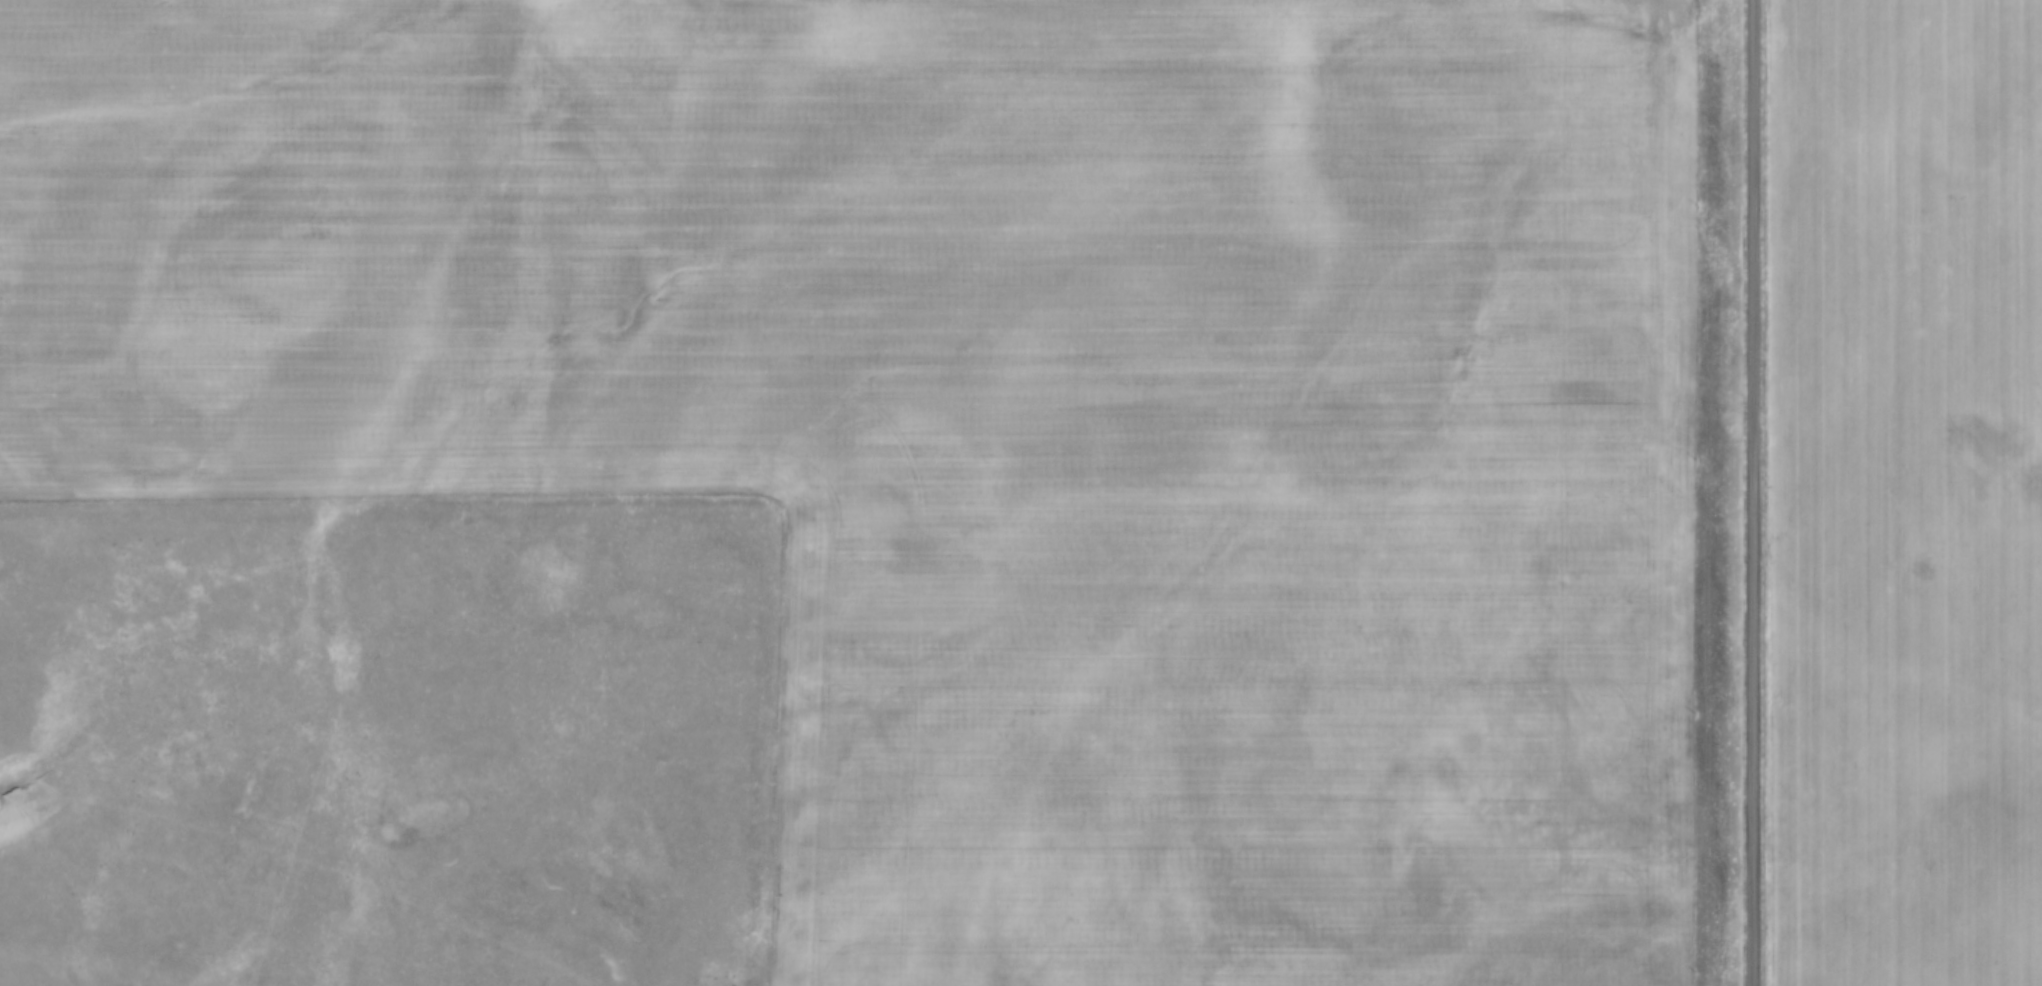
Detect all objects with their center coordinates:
road: (1755, 493)

